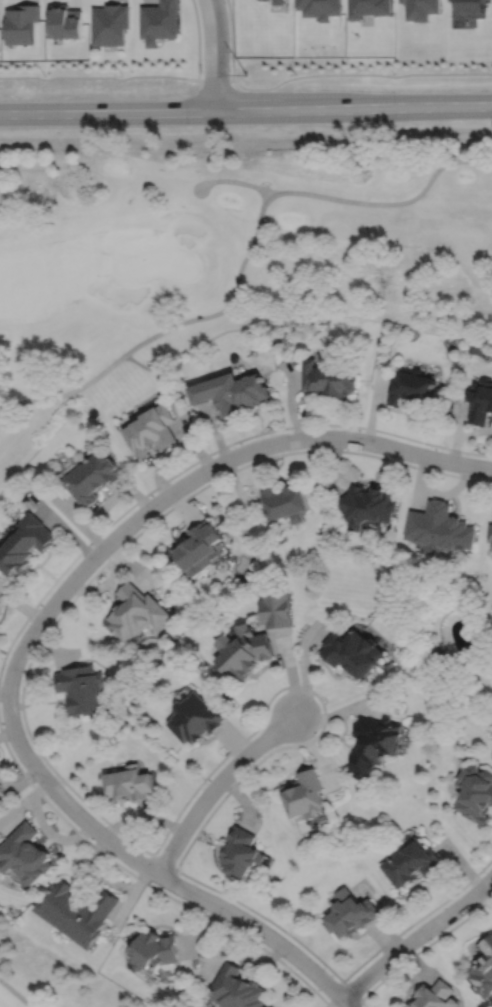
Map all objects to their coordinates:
building: (278, 2)
building: (368, 7)
building: (321, 8)
building: (471, 8)
building: (421, 9)
building: (64, 21)
building: (159, 21)
building: (20, 23)
building: (109, 24)
road: (232, 38)
road: (198, 39)
road: (215, 55)
road: (359, 73)
power tower: (248, 74)
road: (116, 77)
road: (440, 106)
road: (194, 111)
road: (235, 180)
road: (273, 195)
park: (224, 252)
road: (152, 368)
building: (329, 376)
building: (412, 385)
building: (232, 389)
road: (66, 392)
building: (482, 402)
building: (151, 428)
road: (386, 445)
road: (204, 456)
building: (91, 475)
building: (287, 500)
building: (368, 503)
building: (441, 527)
building: (490, 532)
building: (25, 542)
building: (491, 545)
building: (199, 547)
building: (276, 608)
building: (136, 611)
building: (243, 650)
building: (353, 650)
building: (81, 688)
building: (194, 717)
road: (16, 738)
building: (375, 744)
building: (130, 783)
road: (215, 784)
building: (475, 793)
building: (305, 795)
road: (179, 812)
building: (241, 853)
building: (26, 854)
road: (163, 861)
building: (412, 863)
road: (149, 884)
building: (78, 912)
building: (351, 914)
road: (416, 936)
road: (421, 948)
building: (154, 951)
building: (482, 969)
park: (47, 978)
building: (237, 989)
road: (352, 990)
road: (16, 994)
building: (435, 996)

